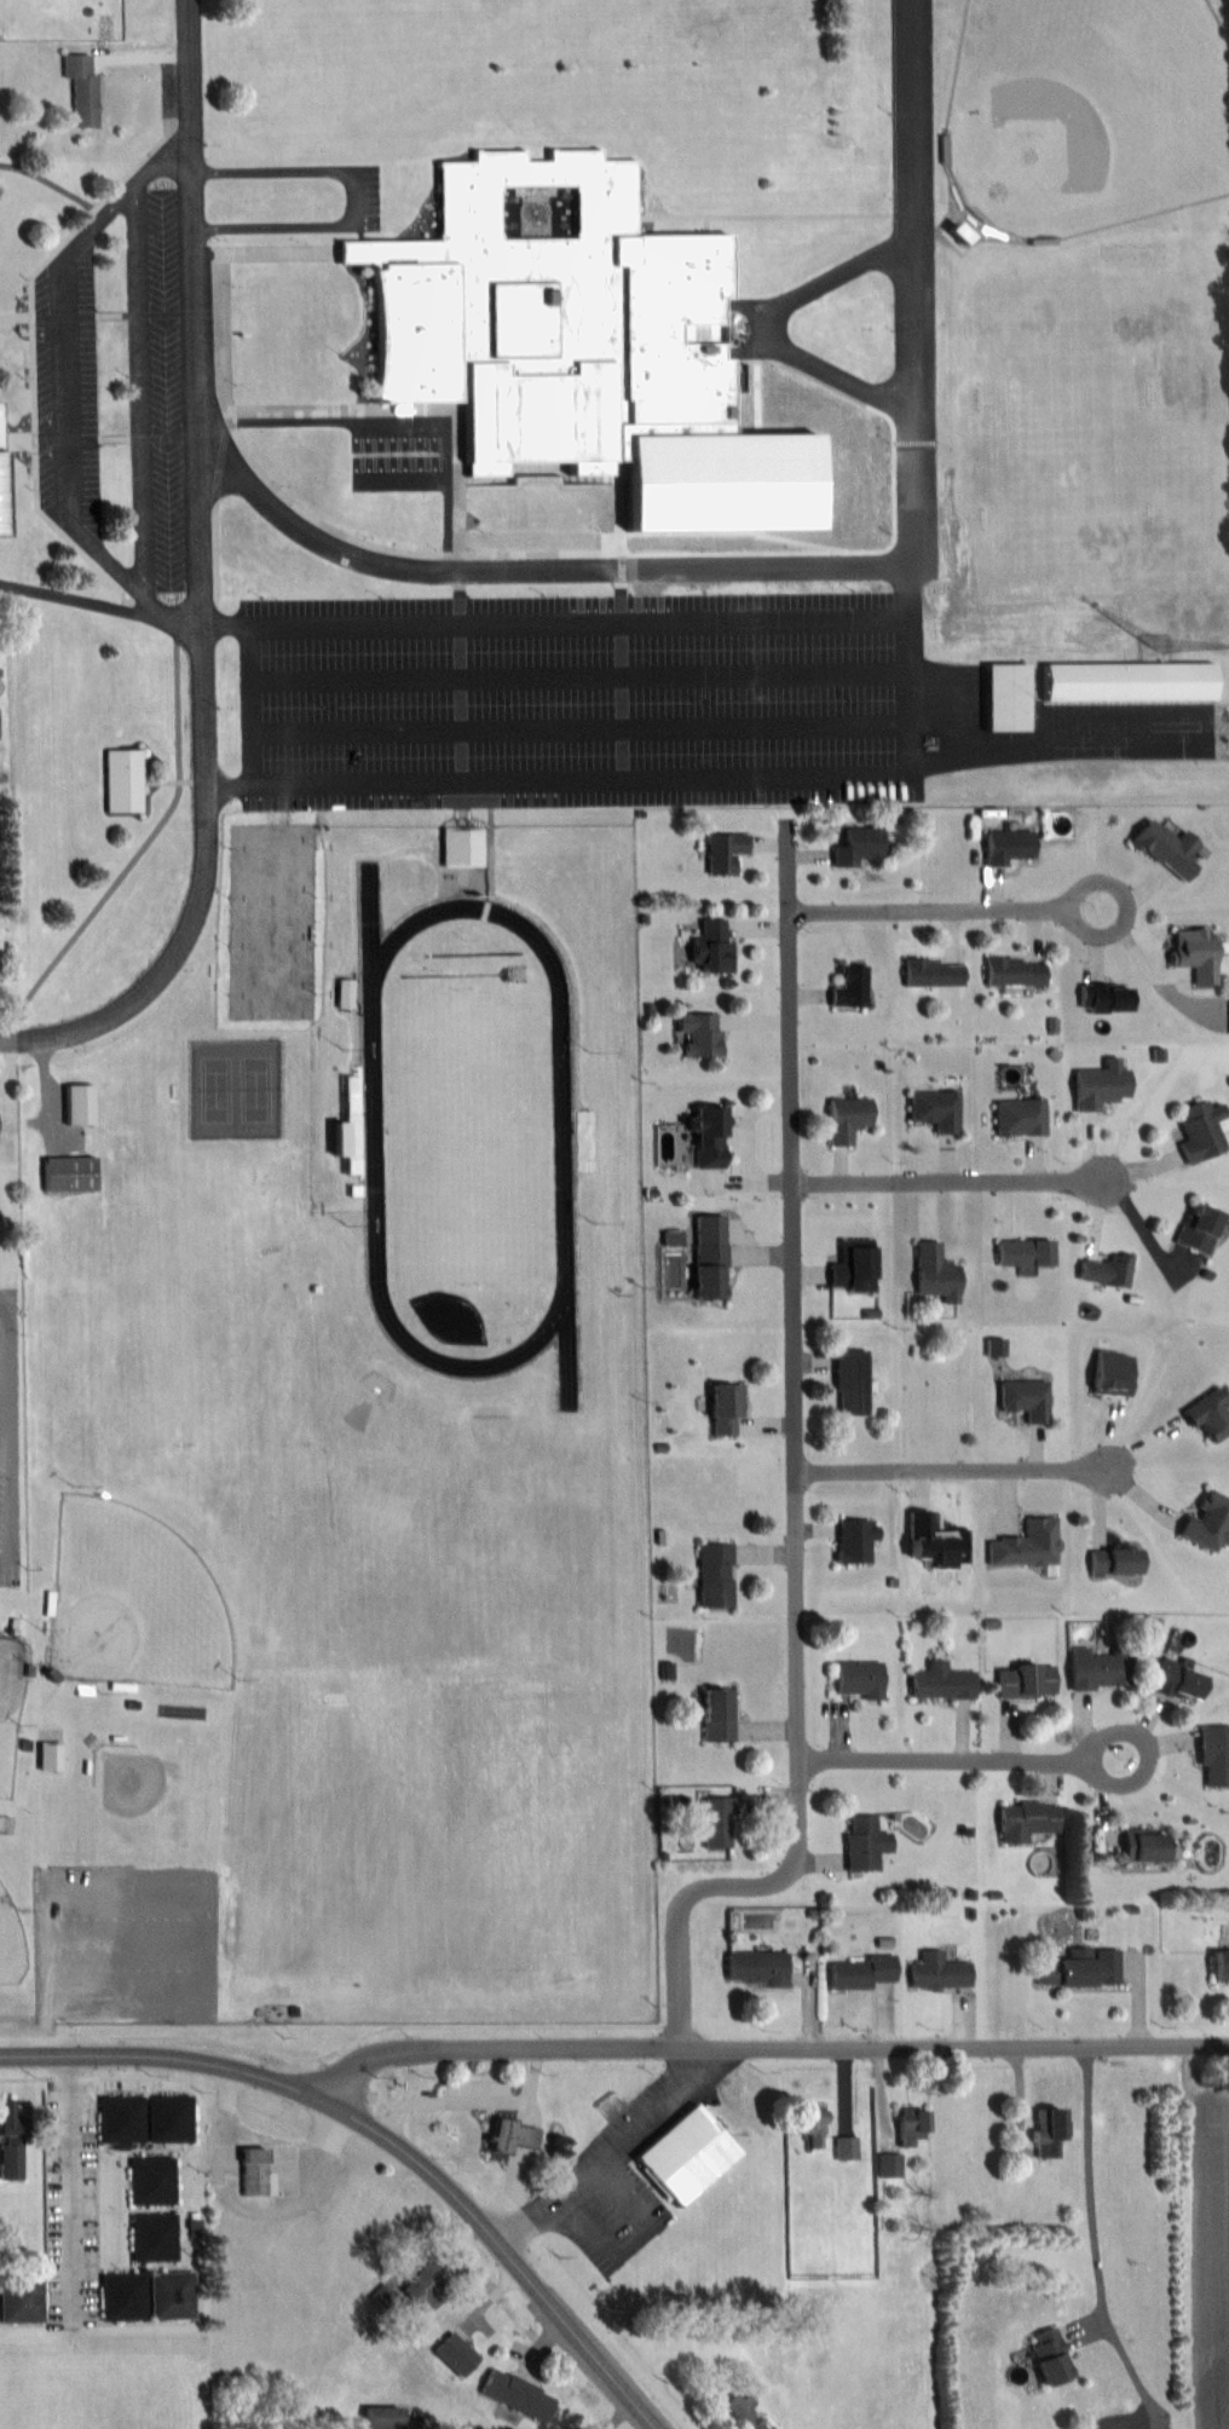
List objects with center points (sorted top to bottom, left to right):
building: (79, 87)
road: (357, 196)
road: (908, 305)
building: (544, 313)
road: (774, 327)
road: (139, 385)
road: (64, 392)
building: (0, 529)
road: (365, 556)
road: (200, 571)
road: (98, 605)
building: (1126, 680)
road: (913, 690)
building: (1003, 696)
road: (1049, 750)
building: (120, 780)
building: (855, 846)
building: (1004, 846)
building: (1162, 847)
building: (721, 850)
road: (931, 908)
park: (275, 919)
road: (1118, 930)
building: (709, 946)
building: (1011, 971)
building: (931, 973)
building: (848, 986)
building: (345, 994)
building: (694, 1033)
road: (12, 1040)
building: (1097, 1084)
park: (236, 1090)
building: (933, 1109)
building: (846, 1117)
building: (1016, 1117)
building: (1199, 1130)
track: (564, 1136)
building: (704, 1136)
park: (468, 1137)
building: (68, 1172)
road: (950, 1182)
building: (1195, 1228)
building: (1021, 1252)
building: (704, 1256)
building: (1106, 1270)
building: (935, 1271)
building: (850, 1381)
building: (1021, 1398)
building: (722, 1407)
building: (1206, 1414)
road: (954, 1470)
road: (797, 1487)
building: (1205, 1522)
building: (853, 1541)
building: (1109, 1559)
building: (711, 1575)
park: (135, 1602)
building: (1098, 1668)
building: (855, 1678)
building: (1025, 1679)
building: (1173, 1680)
building: (940, 1681)
park: (11, 1698)
building: (715, 1714)
road: (1150, 1755)
building: (1212, 1755)
road: (946, 1759)
park: (165, 1798)
building: (1023, 1819)
building: (719, 1823)
building: (862, 1842)
building: (1138, 1845)
park: (11, 1942)
building: (1217, 1966)
building: (754, 1967)
building: (1062, 1969)
building: (860, 1971)
building: (937, 1971)
road: (766, 2047)
road: (85, 2054)
road: (469, 2099)
building: (119, 2118)
building: (167, 2118)
building: (812, 2123)
building: (910, 2125)
building: (1044, 2134)
building: (506, 2135)
road: (276, 2139)
building: (846, 2147)
road: (610, 2153)
building: (681, 2156)
building: (8, 2160)
building: (889, 2164)
building: (249, 2171)
road: (73, 2175)
building: (149, 2181)
road: (1090, 2181)
road: (448, 2192)
road: (244, 2210)
building: (152, 2237)
building: (423, 2286)
building: (168, 2295)
building: (121, 2296)
building: (18, 2298)
building: (454, 2354)
building: (1046, 2356)
building: (515, 2394)
building: (742, 2411)
building: (379, 2417)

